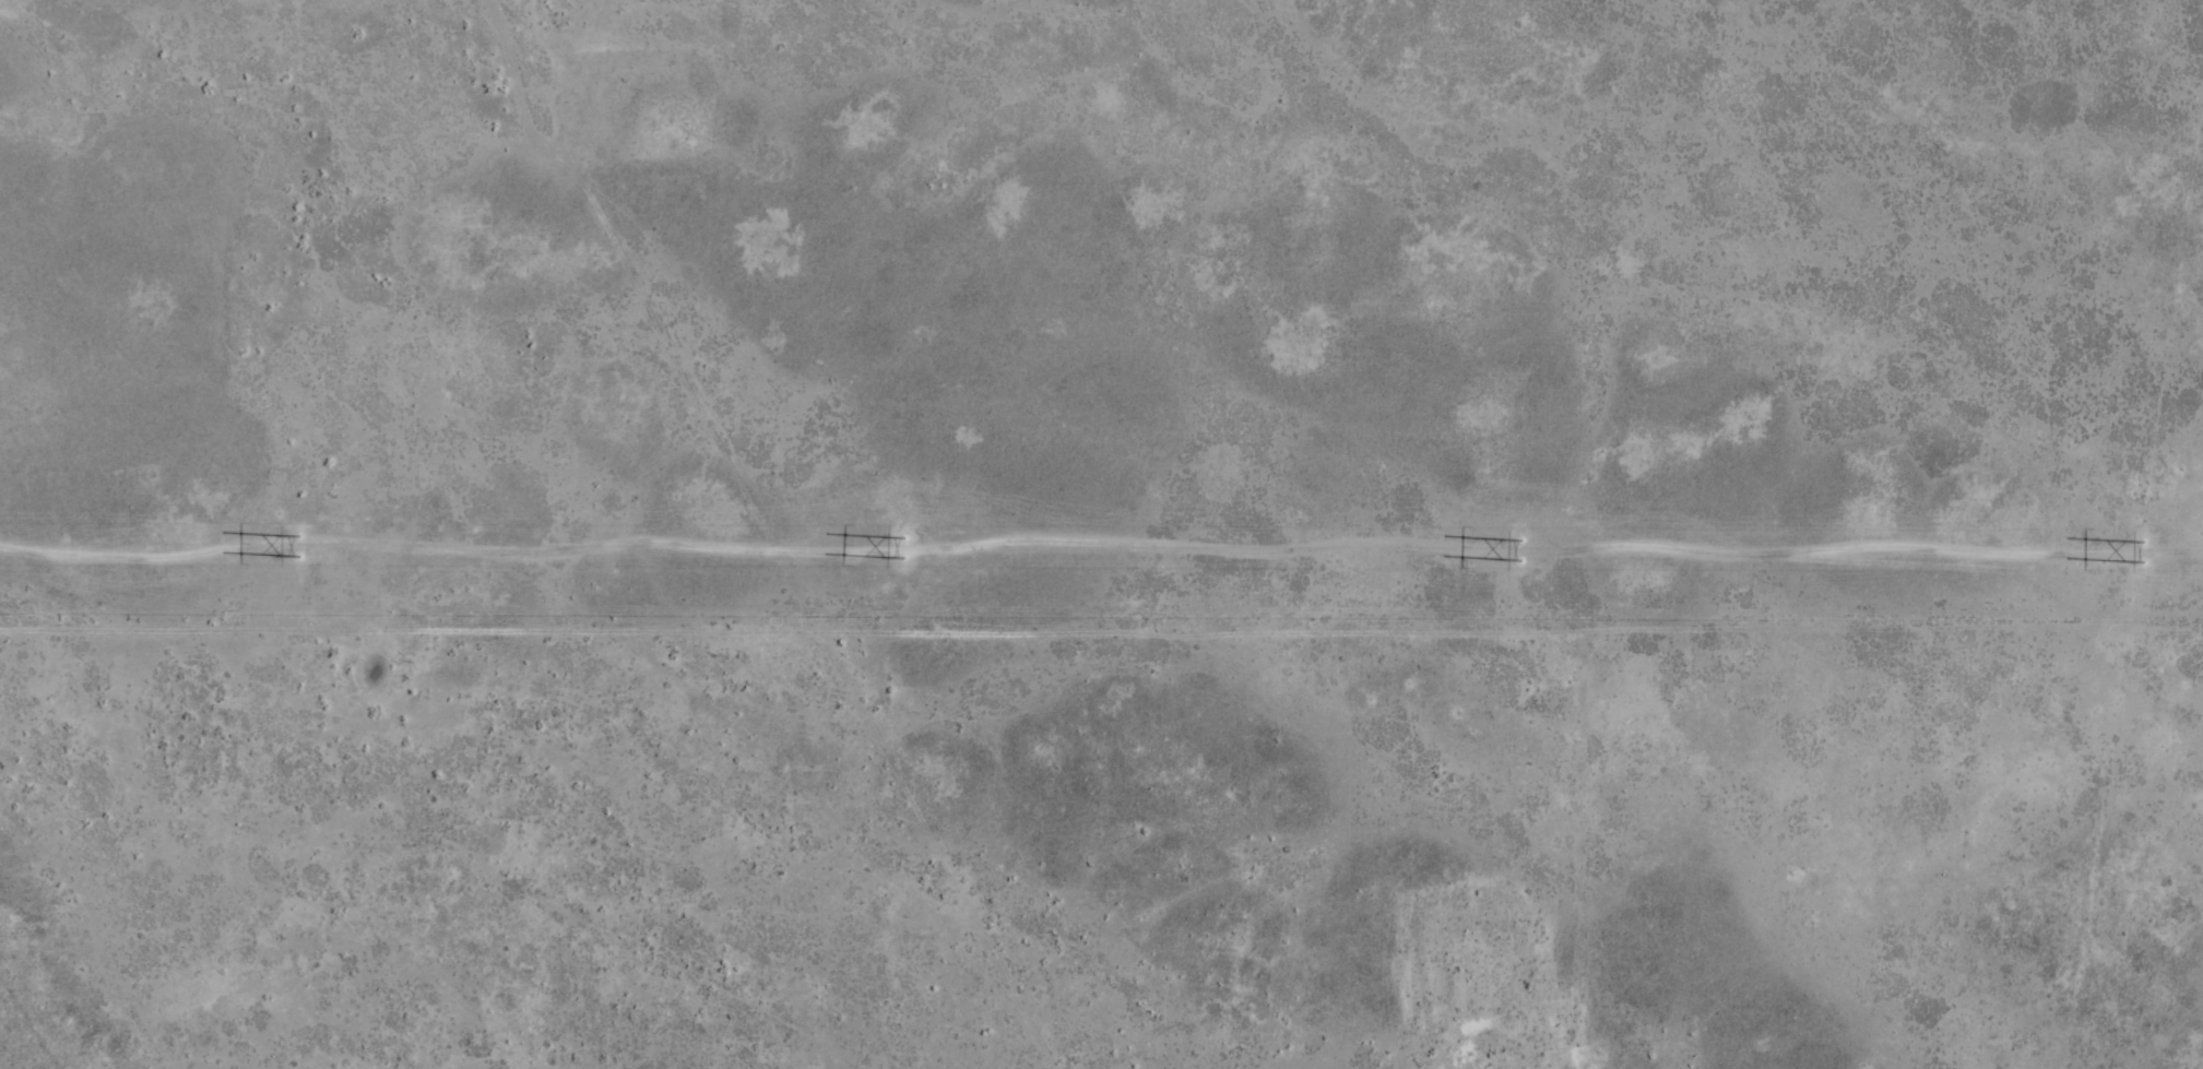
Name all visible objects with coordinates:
power tower: (288, 533)
power tower: (1515, 539)
power tower: (2133, 543)
road: (707, 667)

